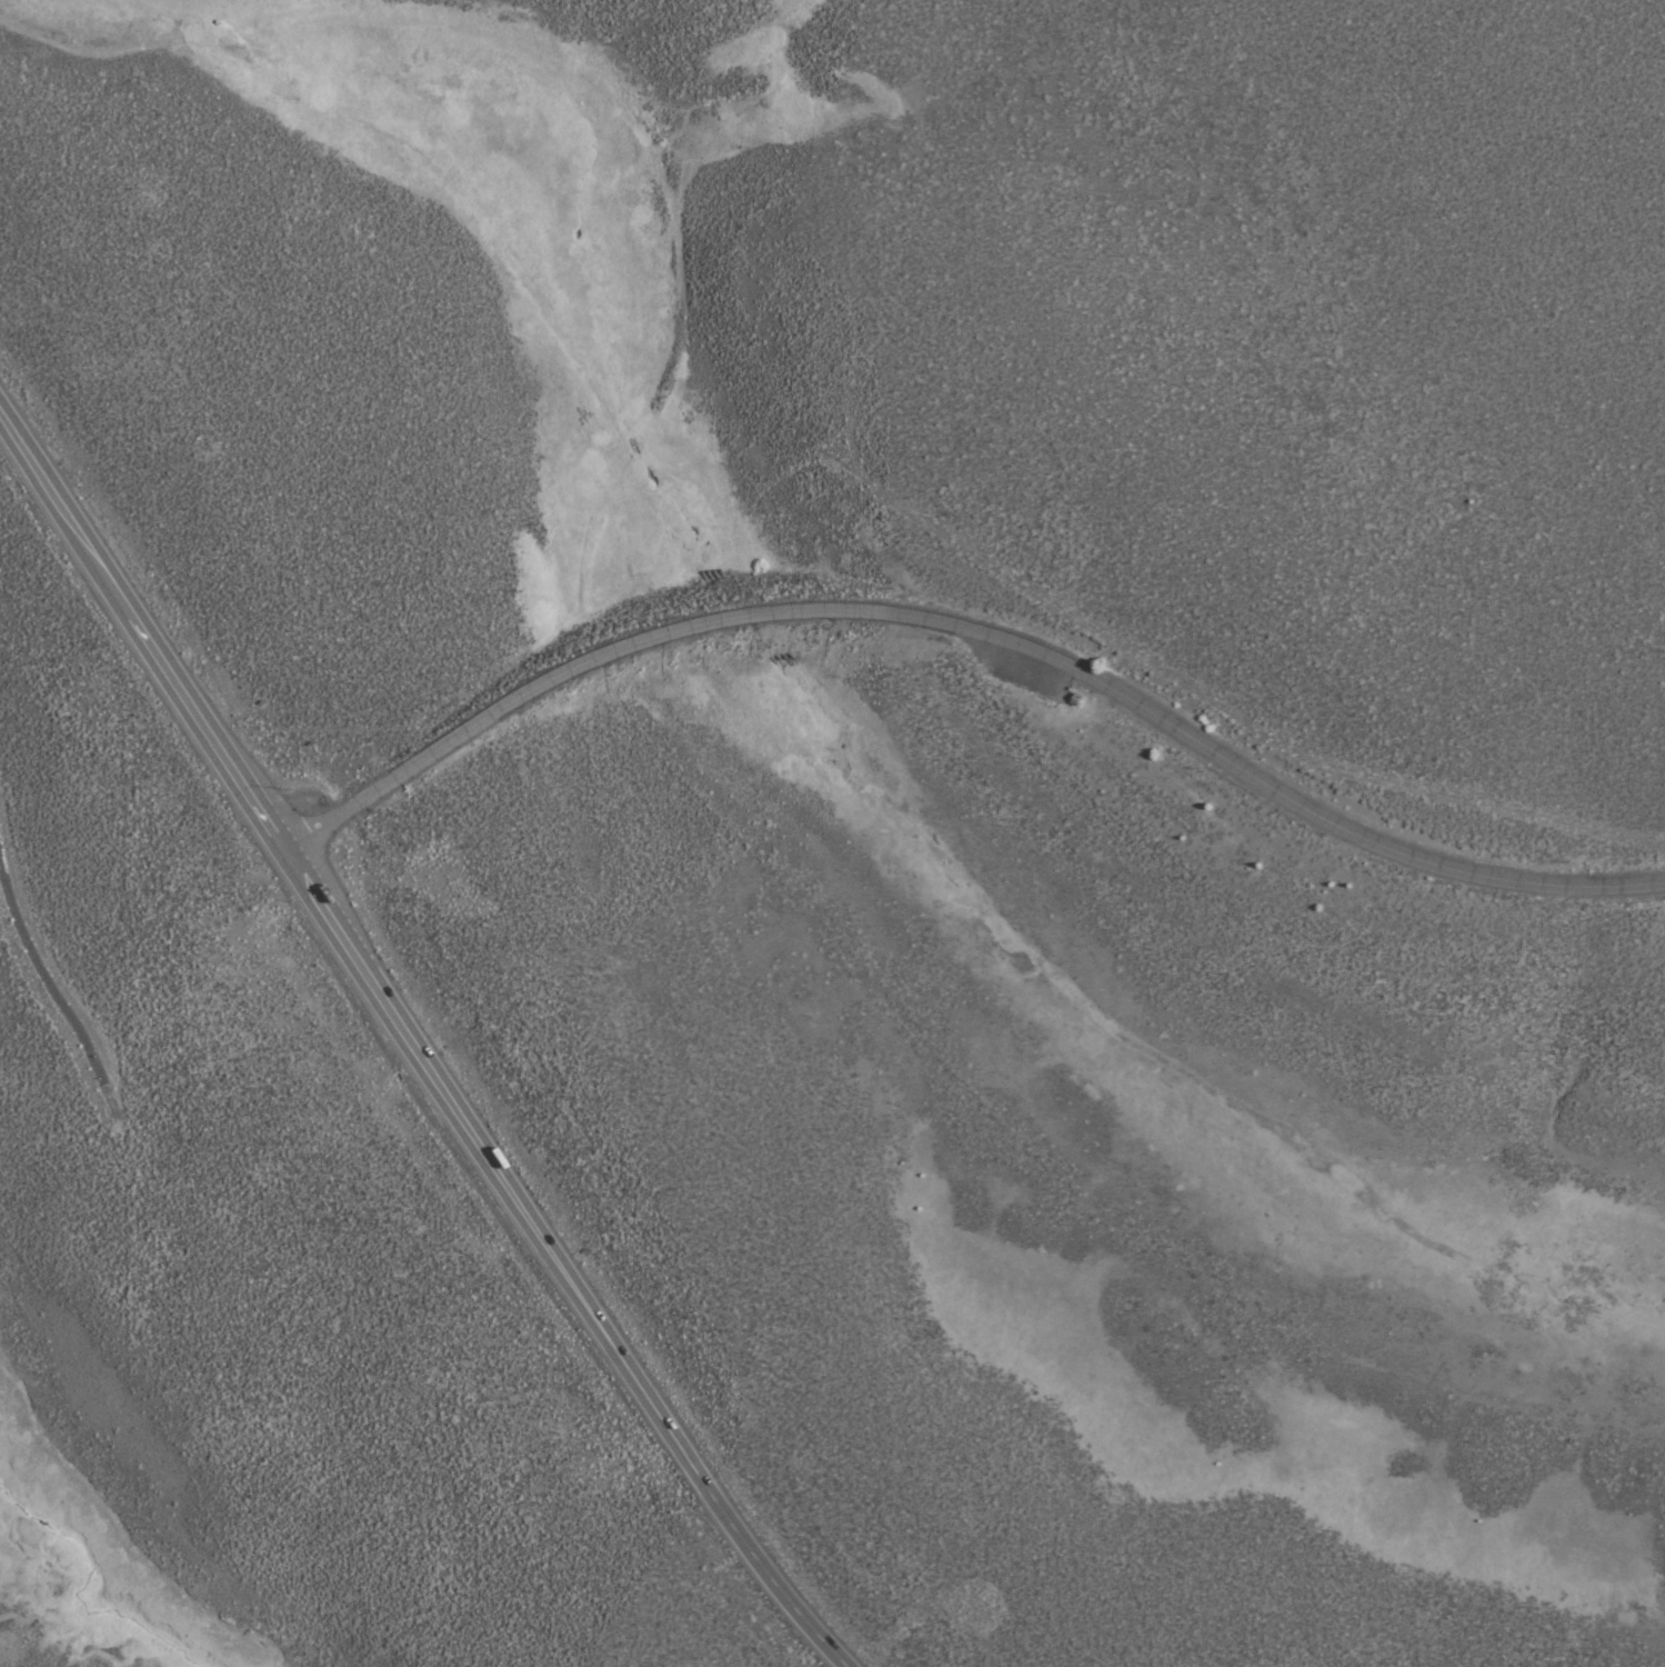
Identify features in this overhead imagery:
airport: (879, 329)
road: (972, 633)
road: (44, 990)
road: (412, 1046)

